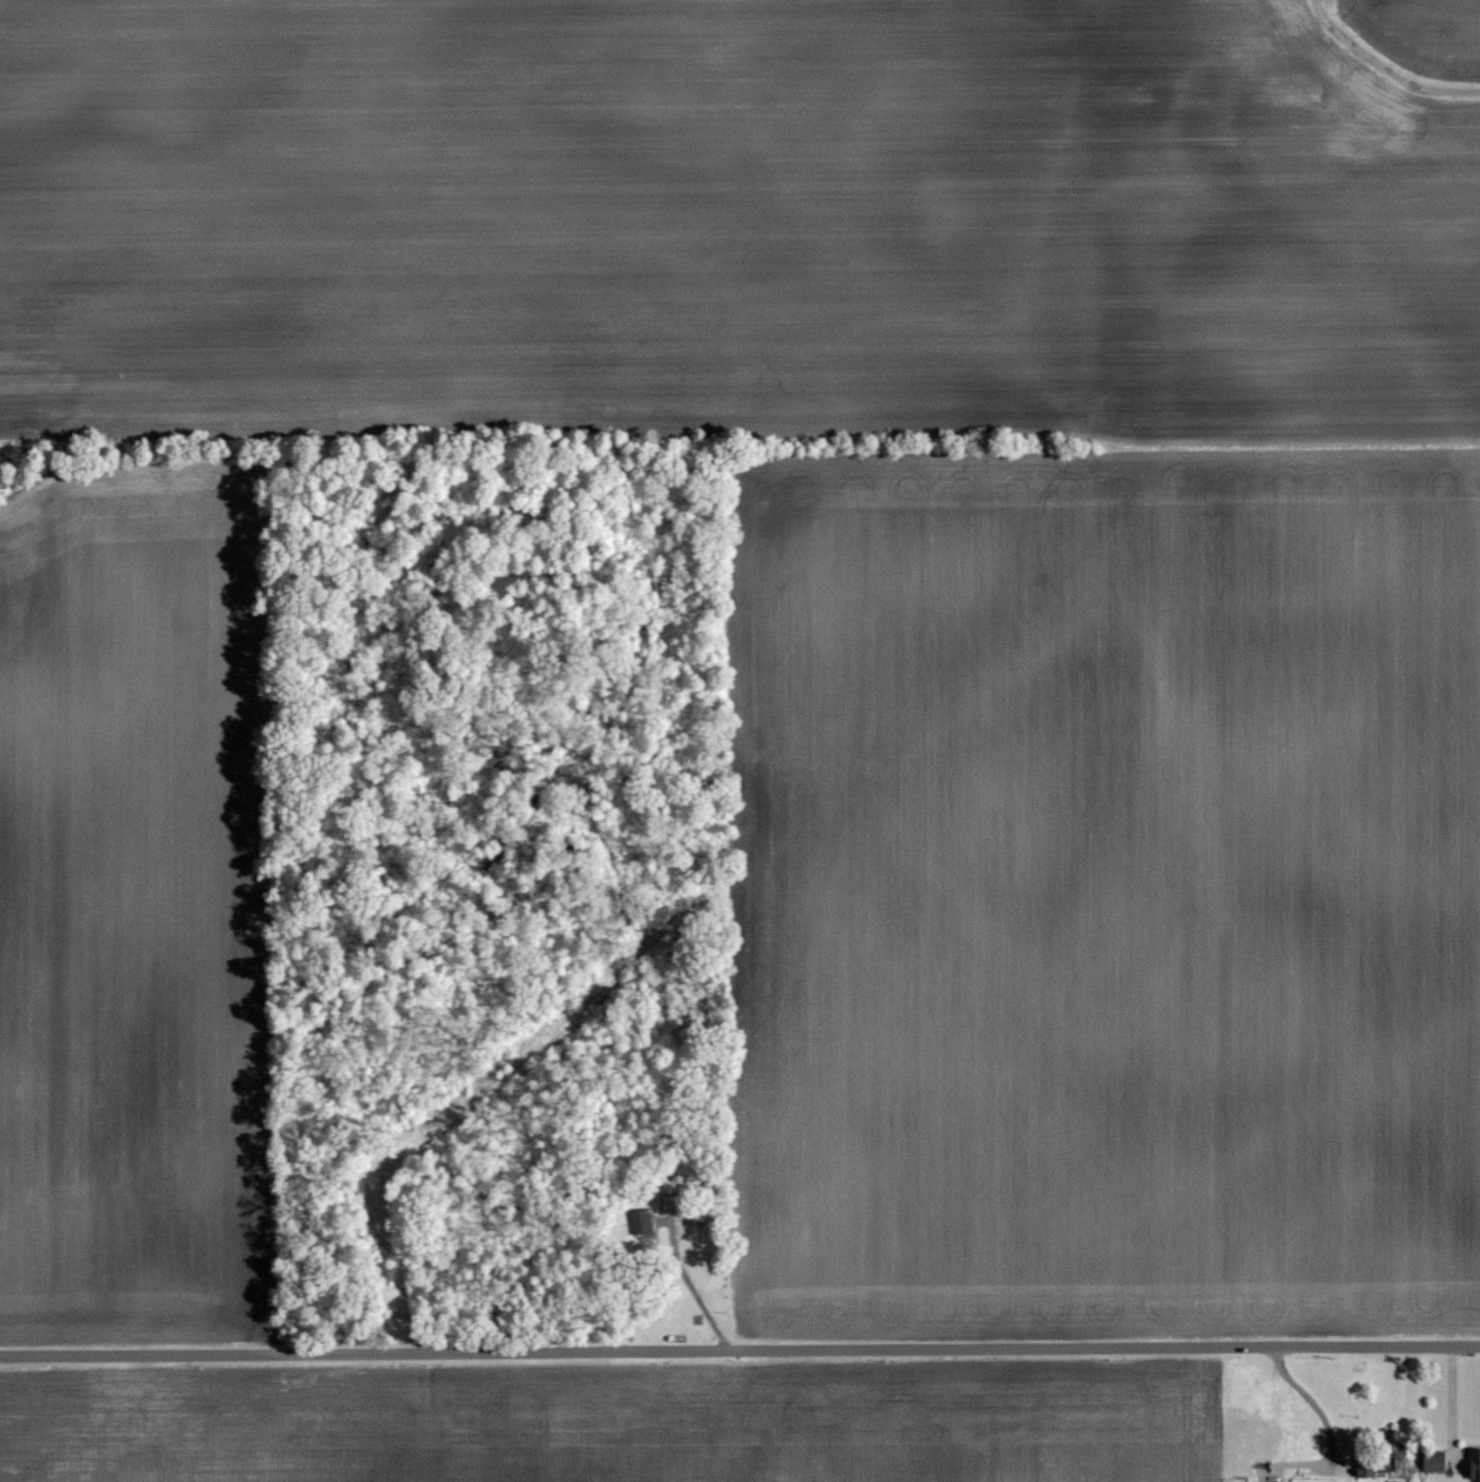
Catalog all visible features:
building: (641, 1222)
road: (740, 1349)
building: (1398, 1442)

